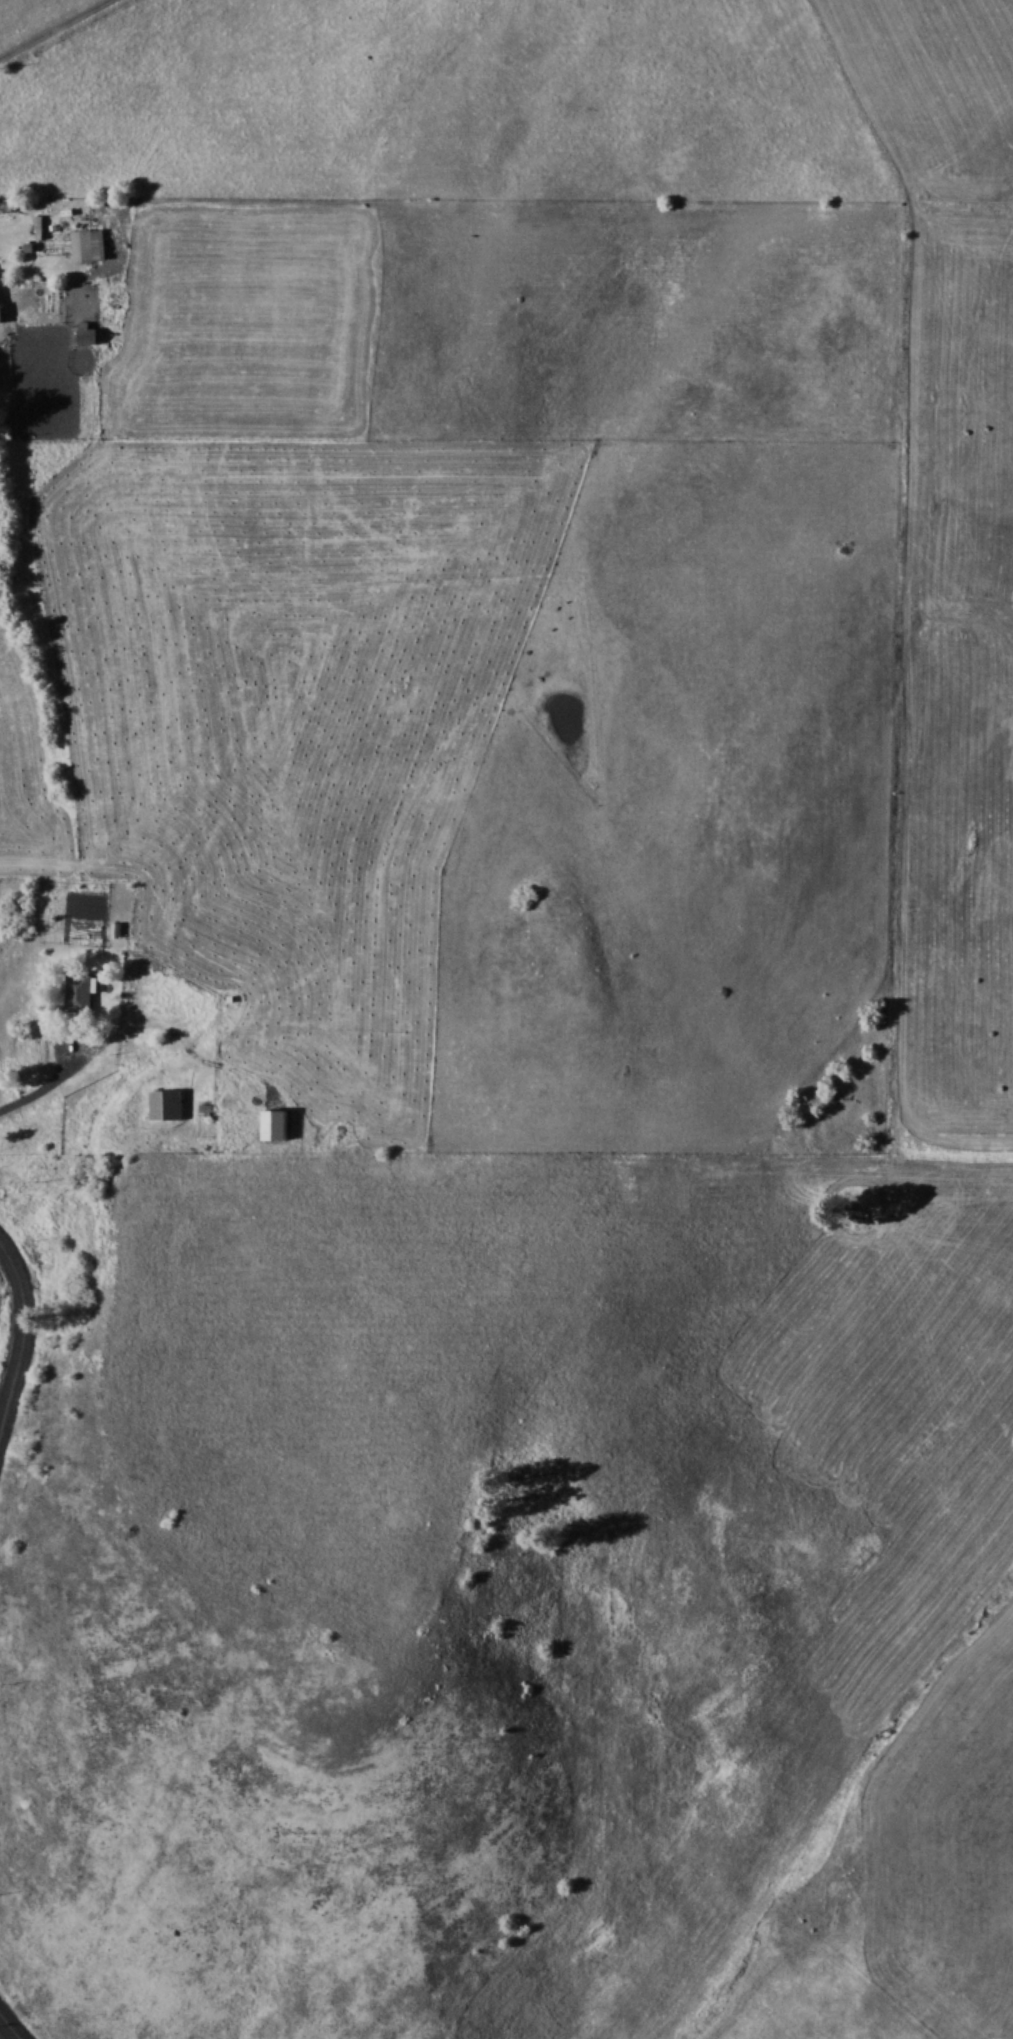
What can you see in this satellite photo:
road: (53, 28)
building: (89, 244)
building: (0, 317)
building: (89, 333)
building: (80, 993)
road: (48, 1090)
building: (167, 1104)
road: (22, 1331)
road: (11, 2024)

